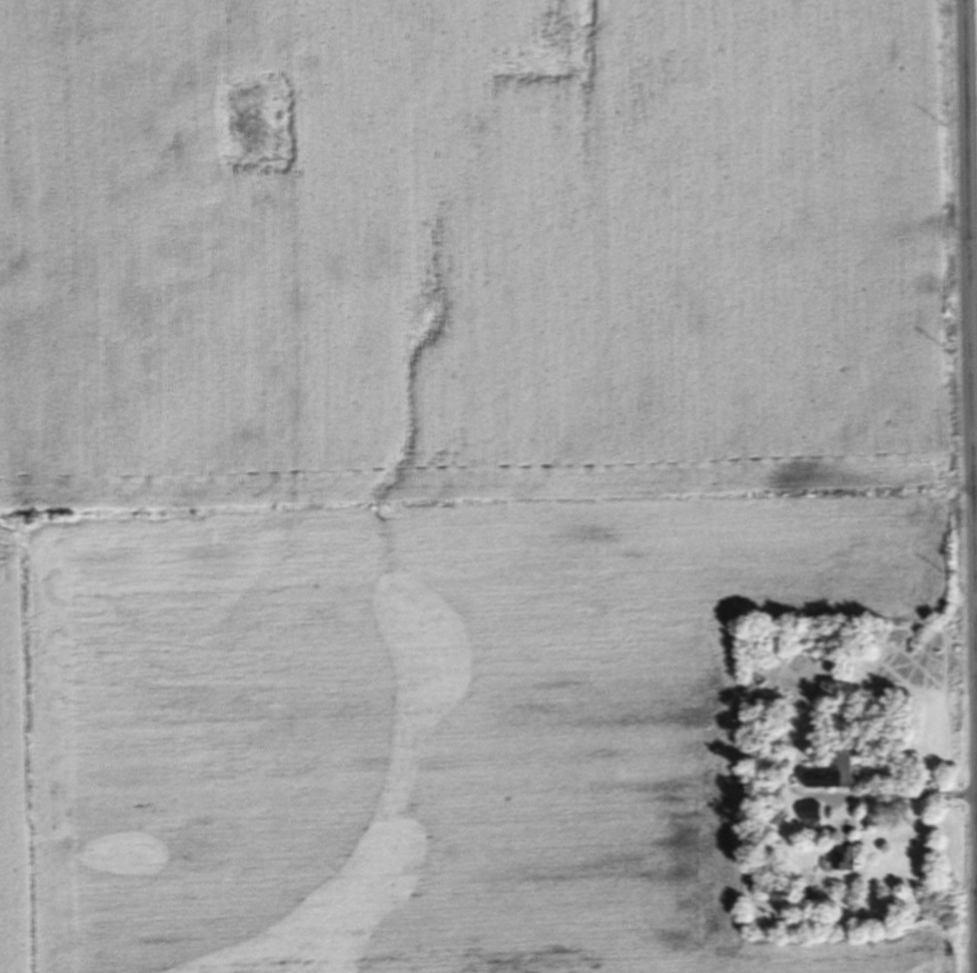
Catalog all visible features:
road: (972, 234)
building: (836, 773)
road: (901, 790)
building: (815, 816)
building: (853, 862)

